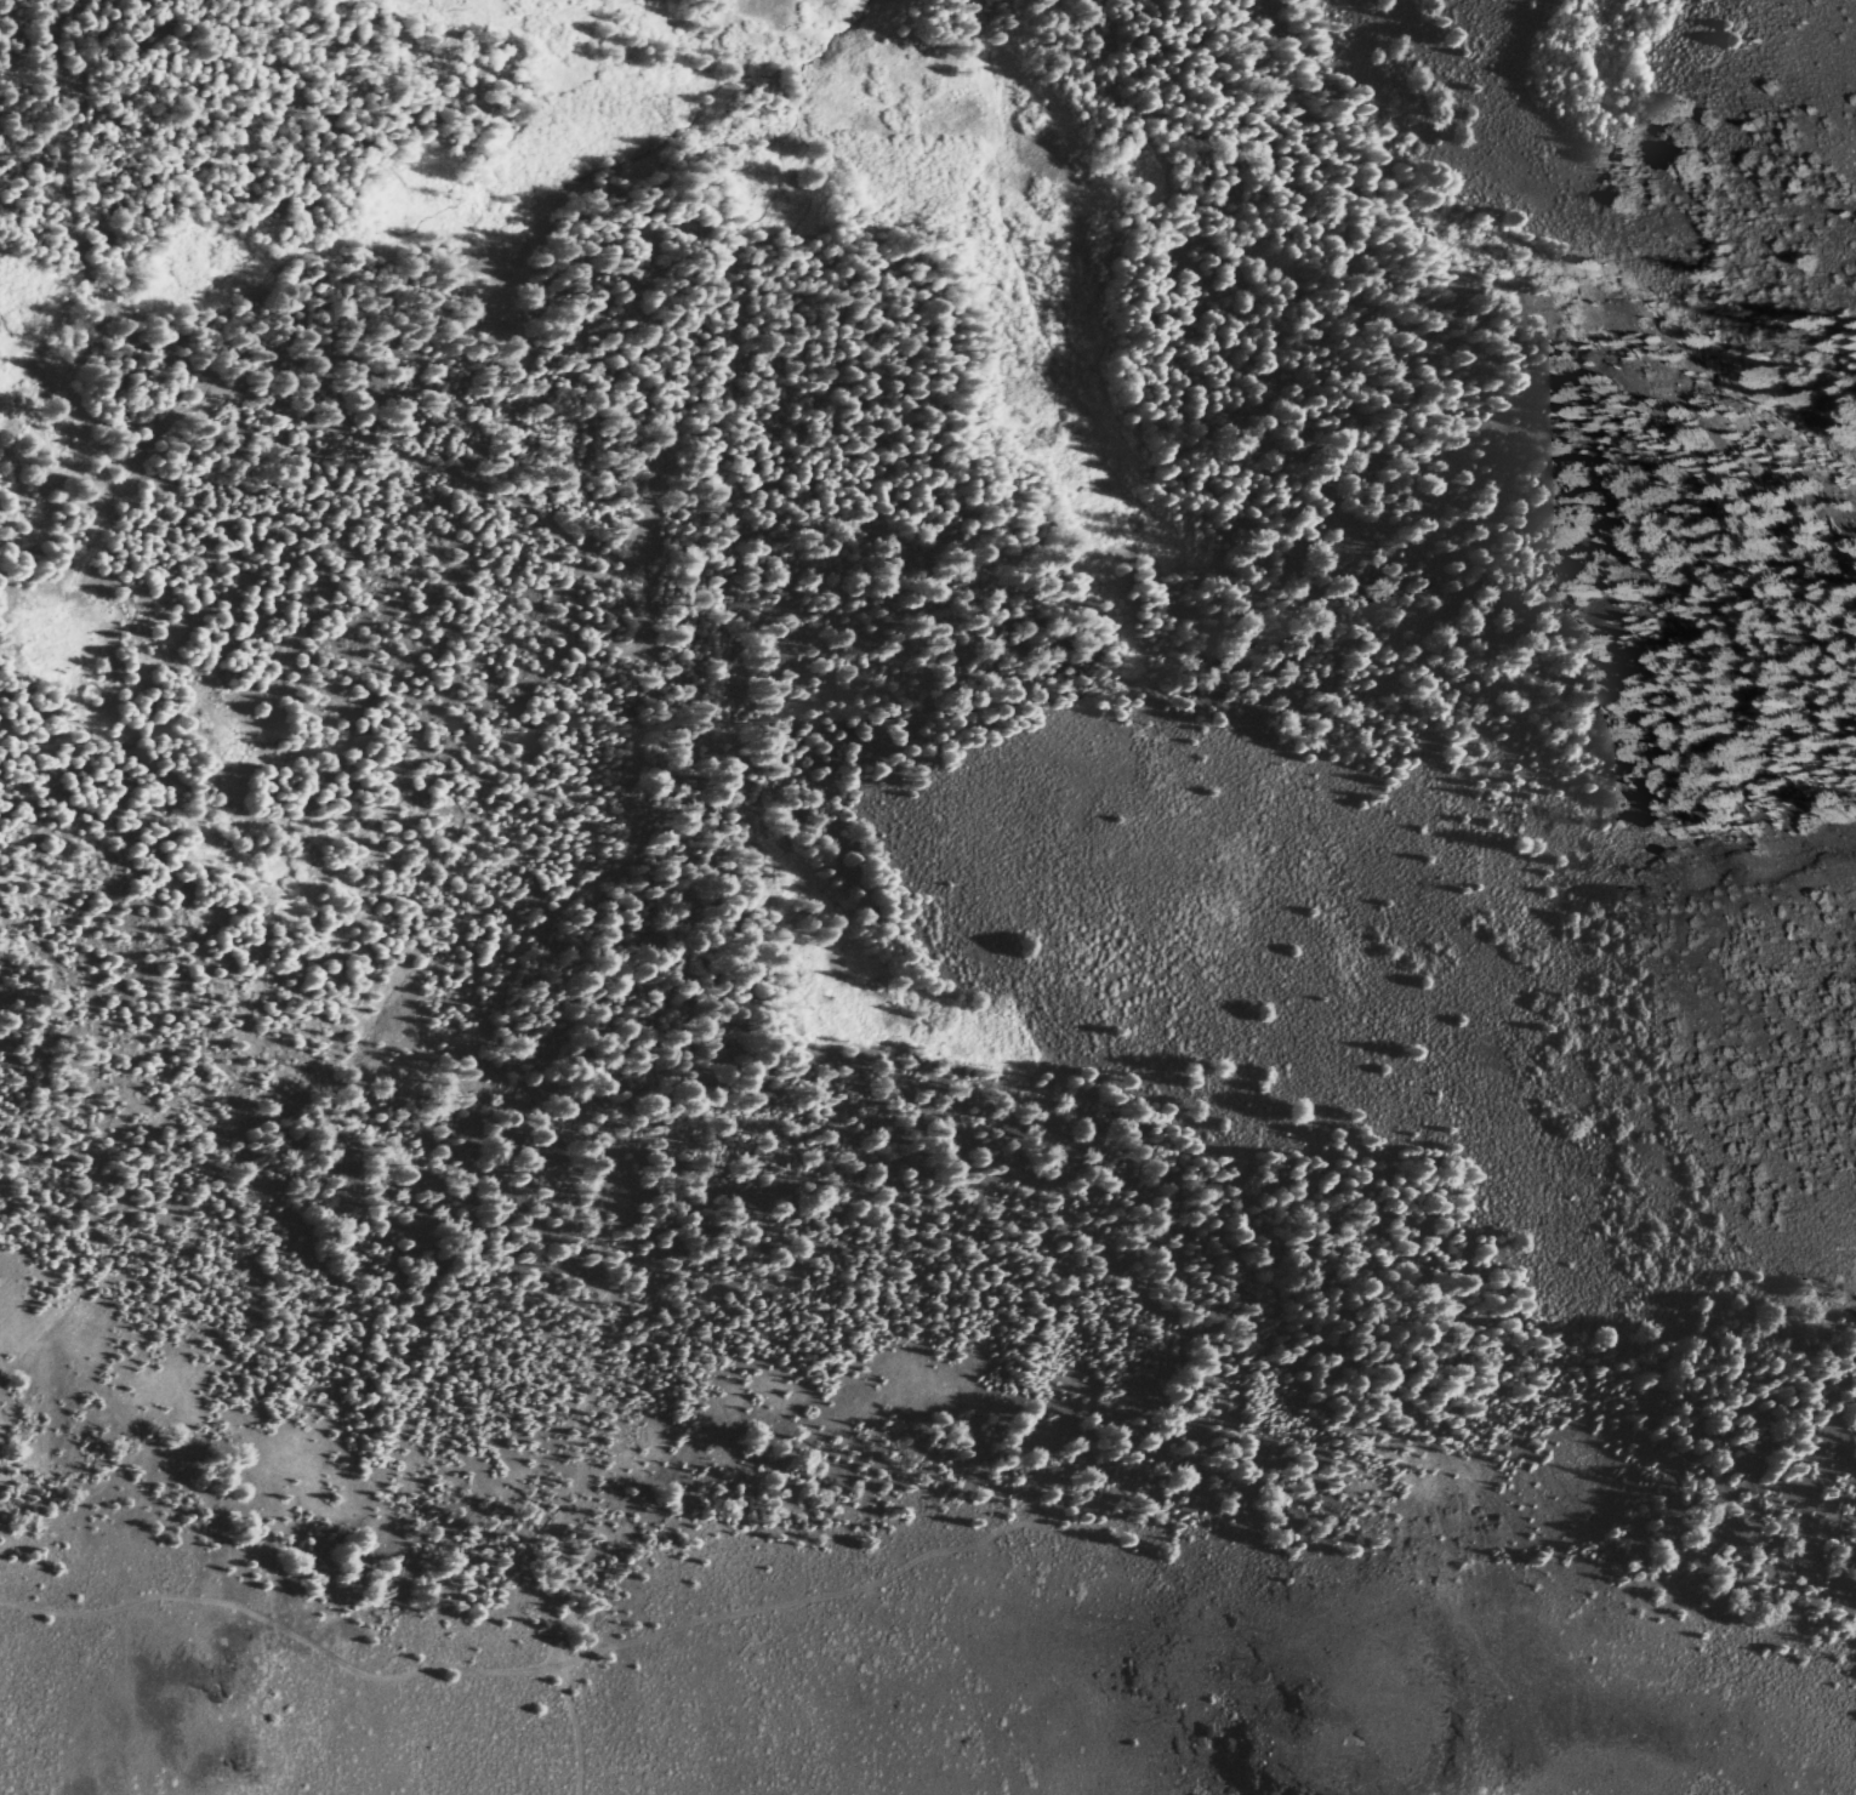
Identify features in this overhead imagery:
road: (725, 703)
road: (553, 1677)
road: (588, 1732)

